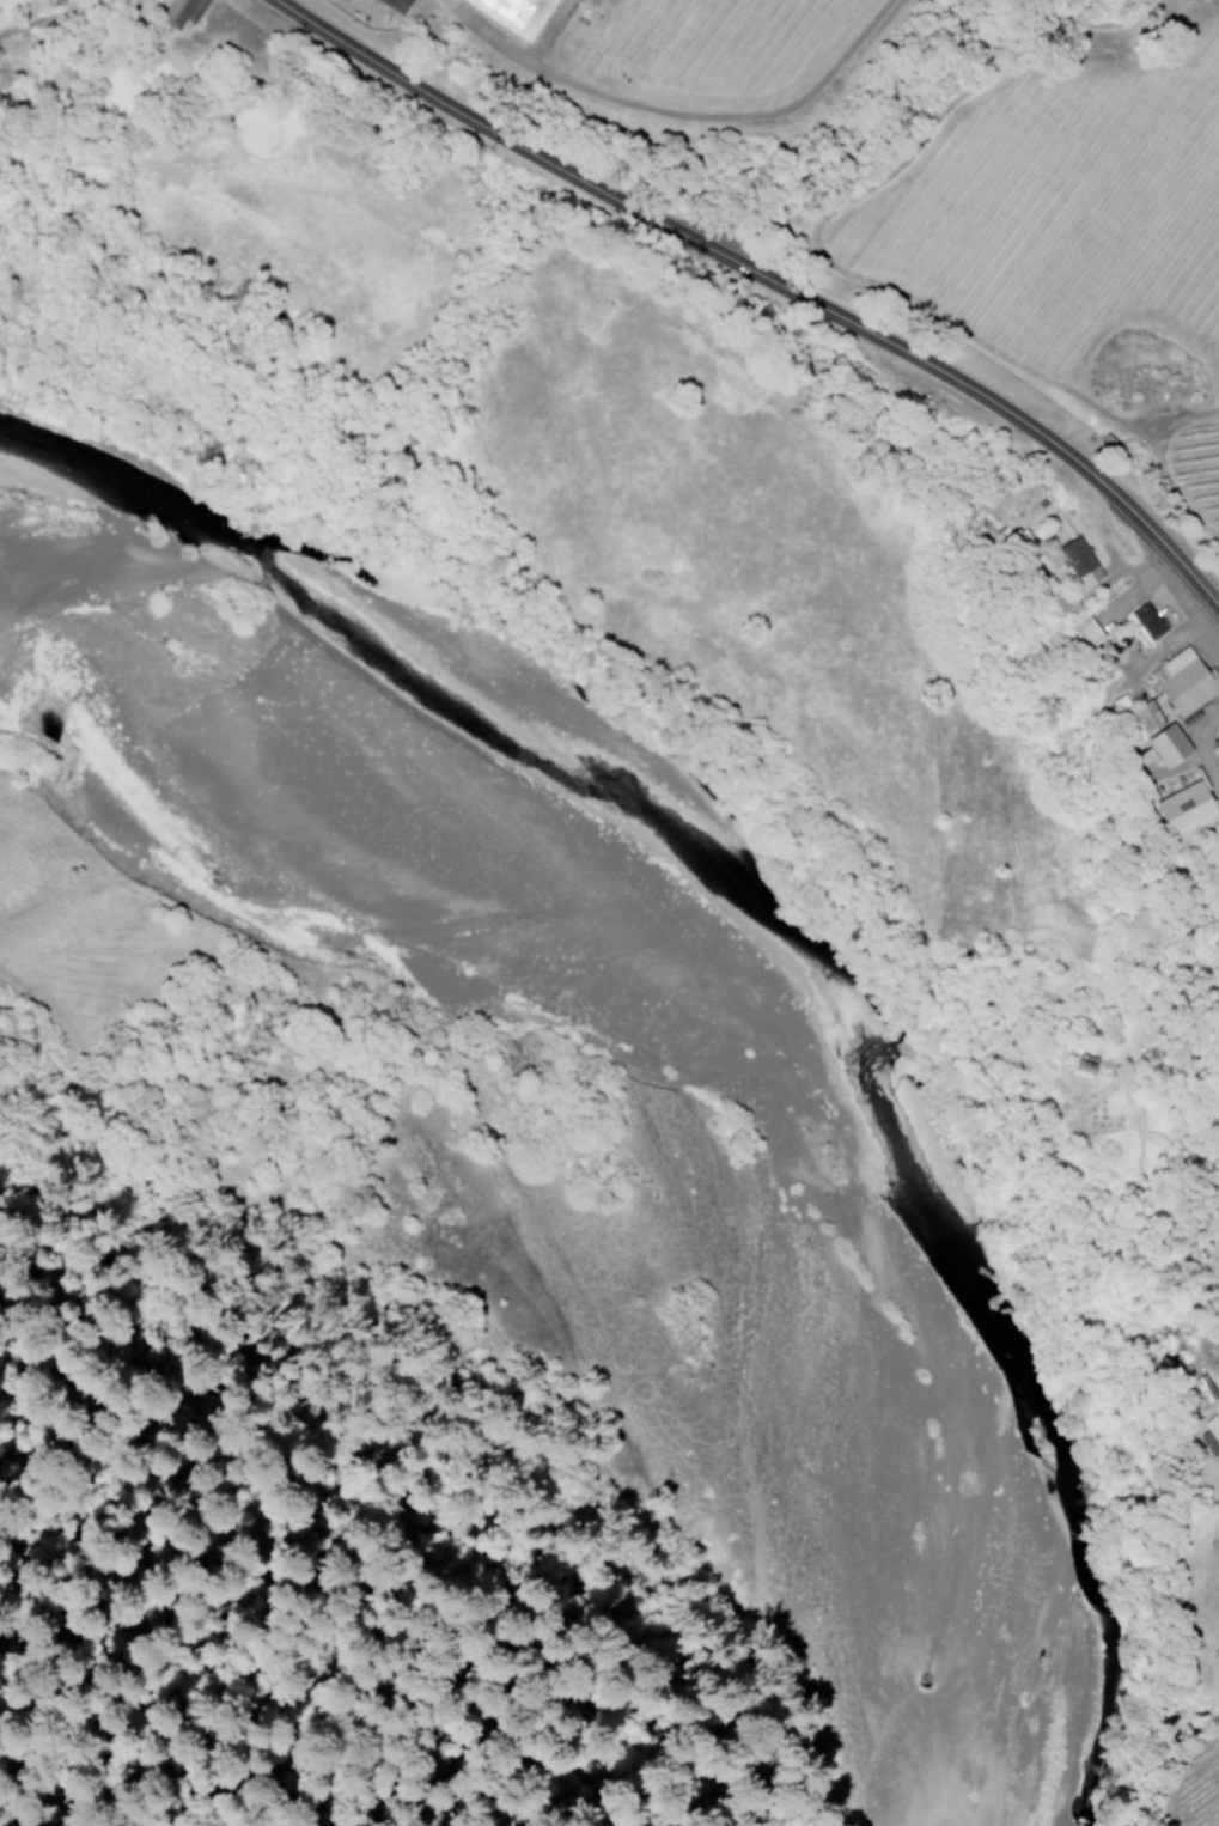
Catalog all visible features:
building: (342, 0)
building: (391, 5)
building: (181, 12)
building: (510, 14)
road: (766, 278)
building: (1077, 562)
building: (1153, 623)
building: (1083, 634)
building: (1181, 684)
building: (1139, 716)
building: (1218, 741)
building: (1165, 745)
building: (1186, 815)
river: (703, 1025)
building: (1083, 1069)
road: (462, 1221)
building: (1203, 1388)
road: (395, 1425)
building: (1209, 1436)
road: (563, 1633)
road: (6, 1821)

